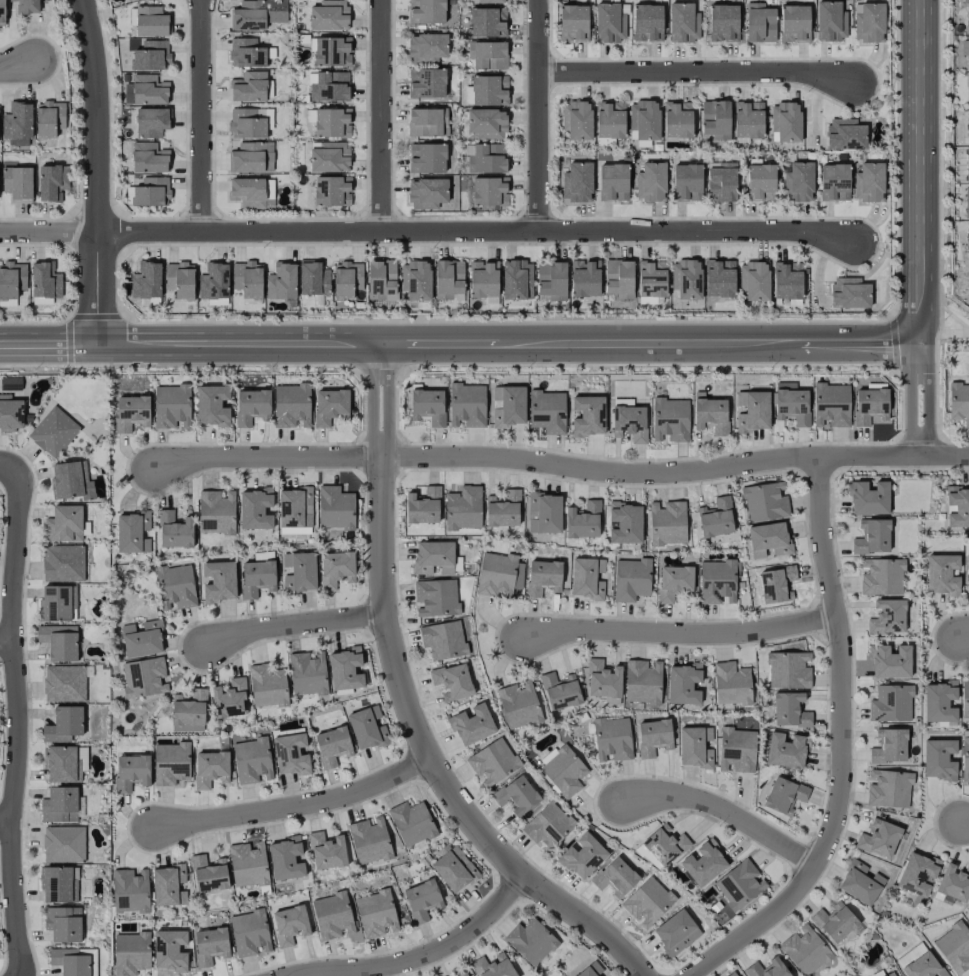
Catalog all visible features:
building: (126, 0)
building: (491, 1)
building: (26, 6)
building: (426, 11)
building: (2, 14)
building: (248, 15)
building: (329, 15)
building: (968, 15)
building: (150, 21)
building: (830, 21)
building: (868, 21)
building: (487, 22)
building: (610, 22)
building: (647, 22)
building: (683, 22)
building: (723, 22)
building: (573, 23)
building: (760, 23)
building: (794, 23)
building: (427, 47)
building: (332, 51)
building: (246, 52)
building: (967, 53)
building: (489, 55)
building: (150, 56)
road: (17, 64)
road: (696, 73)
building: (426, 82)
building: (968, 85)
building: (328, 86)
building: (249, 87)
building: (148, 89)
building: (489, 90)
road: (538, 115)
road: (201, 116)
road: (380, 116)
building: (49, 118)
building: (609, 119)
building: (644, 119)
building: (677, 119)
building: (748, 119)
building: (577, 120)
building: (715, 120)
building: (786, 121)
building: (151, 122)
building: (331, 122)
building: (427, 122)
building: (17, 123)
building: (248, 123)
building: (486, 123)
building: (968, 130)
building: (845, 134)
building: (250, 156)
building: (329, 156)
building: (148, 157)
building: (427, 158)
building: (485, 158)
road: (896, 158)
building: (967, 164)
road: (918, 171)
road: (97, 172)
building: (51, 181)
building: (650, 181)
building: (687, 181)
building: (721, 181)
building: (576, 182)
building: (613, 182)
building: (761, 182)
building: (798, 182)
building: (834, 182)
building: (869, 182)
building: (17, 183)
building: (331, 190)
building: (151, 191)
building: (489, 191)
building: (247, 192)
building: (426, 193)
building: (966, 202)
road: (940, 216)
road: (426, 231)
building: (968, 235)
building: (313, 278)
building: (448, 278)
building: (619, 278)
building: (652, 278)
building: (719, 278)
building: (247, 279)
building: (347, 279)
building: (416, 279)
building: (483, 279)
building: (517, 279)
building: (686, 279)
building: (146, 280)
building: (179, 280)
building: (381, 280)
building: (551, 280)
building: (754, 280)
building: (214, 281)
building: (282, 281)
building: (11, 282)
building: (786, 282)
building: (44, 283)
building: (849, 292)
road: (71, 318)
road: (507, 320)
road: (34, 322)
road: (944, 333)
road: (858, 342)
road: (893, 342)
road: (438, 344)
road: (649, 344)
road: (237, 345)
road: (48, 346)
road: (646, 364)
road: (179, 365)
road: (377, 371)
building: (785, 385)
road: (910, 399)
road: (928, 399)
building: (959, 402)
building: (212, 405)
building: (291, 405)
building: (467, 405)
building: (507, 405)
building: (831, 405)
building: (870, 405)
building: (171, 406)
building: (251, 406)
building: (428, 406)
building: (792, 406)
building: (547, 411)
building: (752, 411)
building: (131, 412)
building: (10, 413)
building: (710, 413)
building: (588, 416)
building: (670, 419)
building: (629, 421)
building: (53, 431)
road: (8, 466)
road: (561, 467)
building: (70, 480)
building: (868, 498)
building: (765, 501)
building: (422, 506)
building: (957, 506)
building: (255, 508)
building: (295, 508)
building: (335, 508)
building: (463, 508)
building: (502, 509)
building: (216, 512)
building: (544, 512)
building: (715, 518)
building: (583, 520)
building: (624, 522)
building: (64, 523)
building: (667, 523)
building: (175, 530)
building: (132, 532)
building: (871, 537)
building: (769, 540)
building: (433, 557)
building: (63, 563)
building: (336, 568)
building: (299, 571)
building: (257, 574)
building: (498, 574)
building: (942, 574)
building: (881, 576)
building: (967, 576)
building: (542, 577)
building: (586, 578)
building: (631, 579)
building: (219, 581)
building: (673, 582)
building: (717, 582)
building: (776, 584)
building: (176, 585)
building: (435, 597)
building: (57, 603)
building: (887, 616)
road: (294, 625)
road: (680, 633)
road: (963, 635)
building: (142, 639)
building: (443, 640)
building: (59, 641)
road: (7, 651)
building: (890, 662)
building: (345, 669)
building: (788, 670)
building: (307, 673)
building: (144, 677)
building: (603, 679)
building: (452, 681)
building: (642, 681)
building: (64, 683)
building: (683, 683)
building: (731, 683)
building: (267, 686)
building: (559, 691)
building: (965, 698)
building: (229, 699)
building: (939, 701)
building: (891, 703)
building: (518, 704)
road: (409, 705)
building: (790, 710)
building: (188, 711)
road: (16, 721)
building: (63, 724)
building: (471, 725)
building: (367, 727)
building: (653, 737)
building: (612, 739)
building: (332, 745)
building: (889, 746)
building: (694, 747)
road: (843, 748)
building: (737, 749)
building: (785, 750)
building: (290, 755)
building: (938, 759)
building: (965, 760)
building: (252, 761)
building: (492, 762)
building: (64, 763)
building: (170, 763)
building: (210, 768)
building: (563, 770)
building: (131, 771)
building: (888, 788)
building: (516, 795)
building: (784, 795)
building: (59, 804)
road: (296, 805)
road: (722, 809)
road: (966, 820)
road: (6, 823)
building: (411, 823)
building: (548, 825)
building: (879, 839)
building: (369, 840)
building: (63, 844)
building: (664, 845)
building: (326, 851)
building: (582, 855)
building: (285, 859)
building: (703, 863)
building: (247, 864)
building: (454, 869)
building: (208, 873)
building: (917, 874)
building: (615, 877)
building: (954, 882)
building: (859, 883)
building: (58, 884)
building: (739, 884)
building: (130, 890)
building: (422, 899)
building: (647, 902)
building: (376, 914)
building: (332, 916)
building: (834, 922)
building: (63, 923)
building: (289, 924)
building: (675, 932)
building: (249, 933)
building: (530, 941)
building: (210, 945)
building: (954, 947)
building: (169, 950)
building: (804, 950)
building: (130, 953)
road: (416, 957)
building: (72, 962)
building: (493, 966)
building: (923, 966)
building: (767, 968)
building: (592, 970)
building: (458, 973)
building: (731, 974)
building: (890, 974)

